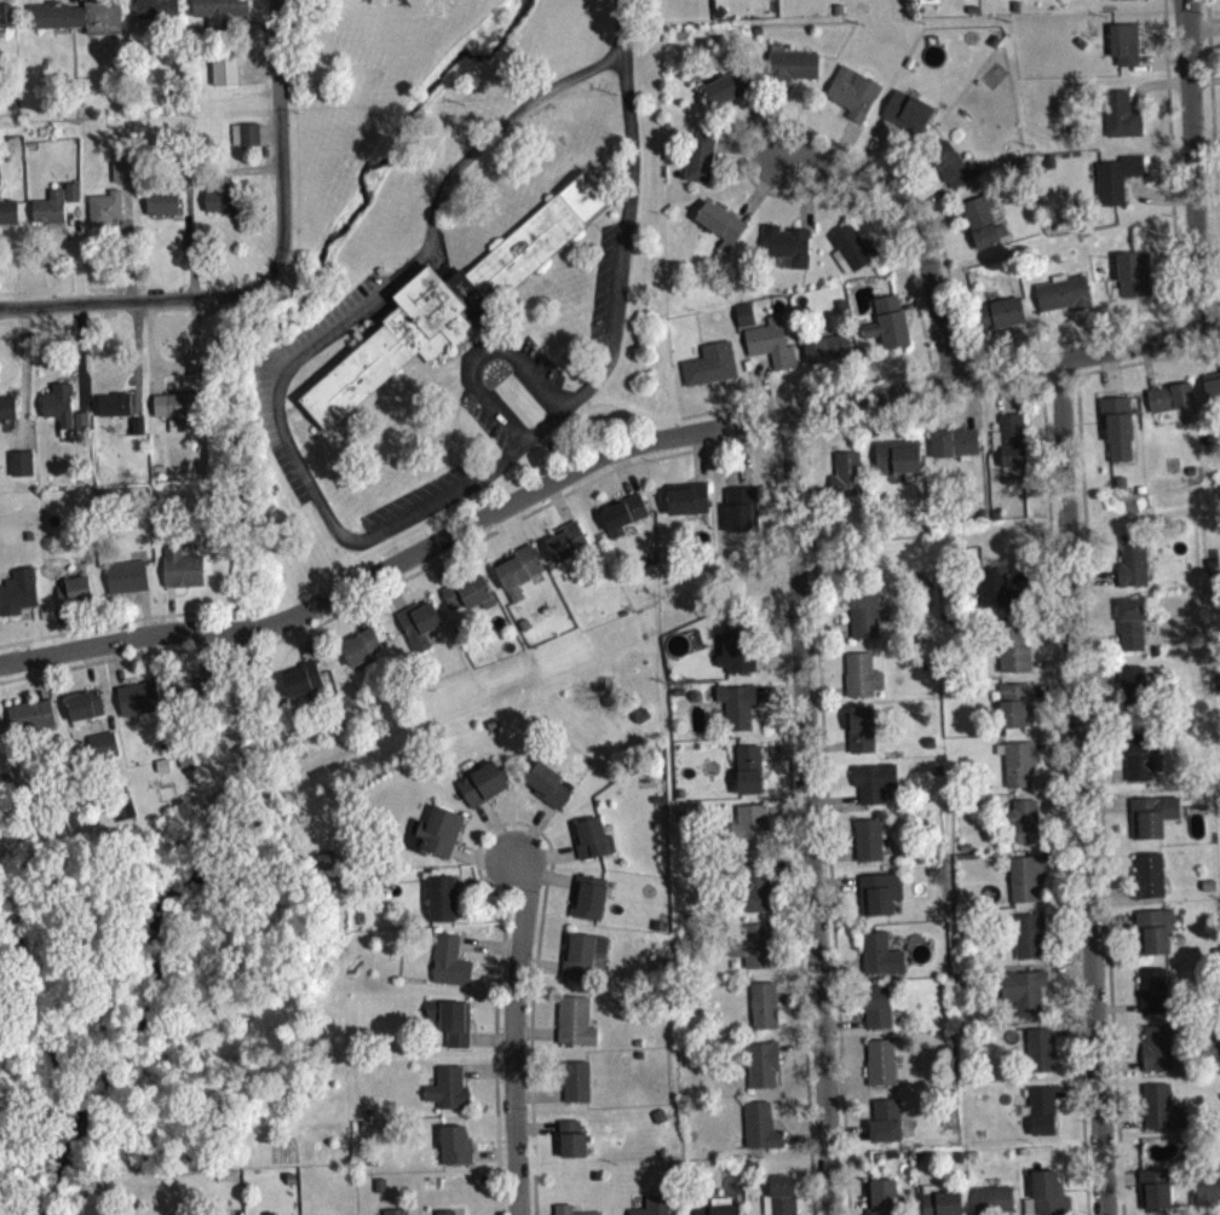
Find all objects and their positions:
building: (1118, 2)
building: (5, 11)
building: (157, 13)
building: (220, 13)
building: (76, 16)
building: (6, 22)
building: (201, 28)
road: (617, 28)
building: (1127, 51)
building: (225, 65)
building: (795, 71)
building: (730, 94)
building: (856, 100)
building: (910, 119)
building: (1124, 123)
road: (282, 139)
building: (247, 142)
road: (1193, 163)
building: (702, 165)
building: (954, 173)
building: (126, 179)
building: (1120, 186)
building: (75, 200)
building: (224, 208)
building: (165, 211)
building: (53, 215)
building: (109, 217)
building: (10, 219)
building: (723, 229)
building: (985, 229)
road: (927, 238)
building: (789, 252)
building: (854, 257)
road: (407, 275)
building: (1136, 283)
road: (137, 296)
building: (1066, 301)
building: (442, 310)
road: (548, 319)
building: (1005, 321)
building: (747, 322)
building: (891, 330)
building: (773, 351)
road: (482, 353)
building: (830, 357)
road: (436, 367)
building: (713, 372)
road: (599, 373)
road: (537, 380)
building: (1214, 396)
building: (1174, 404)
building: (121, 408)
road: (496, 411)
building: (63, 414)
building: (8, 415)
building: (180, 419)
road: (455, 427)
building: (84, 431)
building: (1120, 434)
building: (1015, 448)
building: (957, 450)
road: (595, 460)
building: (900, 463)
building: (23, 471)
building: (851, 480)
building: (691, 507)
building: (744, 517)
building: (626, 523)
building: (570, 549)
building: (1135, 568)
building: (185, 575)
building: (522, 578)
building: (130, 585)
building: (1001, 598)
building: (76, 599)
building: (21, 600)
building: (471, 600)
building: (867, 621)
building: (1134, 632)
building: (422, 633)
building: (363, 655)
building: (740, 658)
building: (1017, 658)
building: (862, 683)
building: (305, 687)
building: (1136, 691)
building: (196, 697)
building: (142, 707)
building: (87, 713)
building: (741, 713)
building: (1018, 713)
building: (33, 722)
building: (864, 737)
building: (0, 744)
building: (107, 750)
building: (1143, 764)
building: (1020, 771)
building: (752, 777)
road: (1084, 789)
building: (876, 790)
building: (549, 791)
building: (485, 793)
road: (811, 816)
building: (1155, 824)
building: (1028, 828)
building: (750, 836)
building: (442, 840)
building: (595, 847)
building: (871, 848)
building: (1151, 882)
building: (1026, 886)
building: (760, 894)
building: (882, 902)
building: (591, 905)
building: (444, 906)
building: (1158, 940)
building: (1032, 944)
building: (756, 954)
building: (585, 963)
building: (884, 963)
building: (453, 969)
building: (1156, 998)
building: (1026, 1000)
building: (766, 1013)
building: (880, 1015)
building: (454, 1029)
building: (577, 1030)
road: (514, 1042)
building: (1161, 1055)
building: (1043, 1058)
building: (884, 1070)
building: (765, 1072)
building: (579, 1089)
building: (450, 1098)
building: (1164, 1116)
building: (1045, 1118)
building: (888, 1128)
building: (764, 1134)
building: (575, 1147)
building: (459, 1153)
building: (1158, 1196)
building: (1209, 1197)
building: (1049, 1198)
building: (783, 1199)
building: (884, 1200)
building: (996, 1204)
building: (943, 1205)
building: (660, 1209)
building: (566, 1213)
building: (726, 1214)

